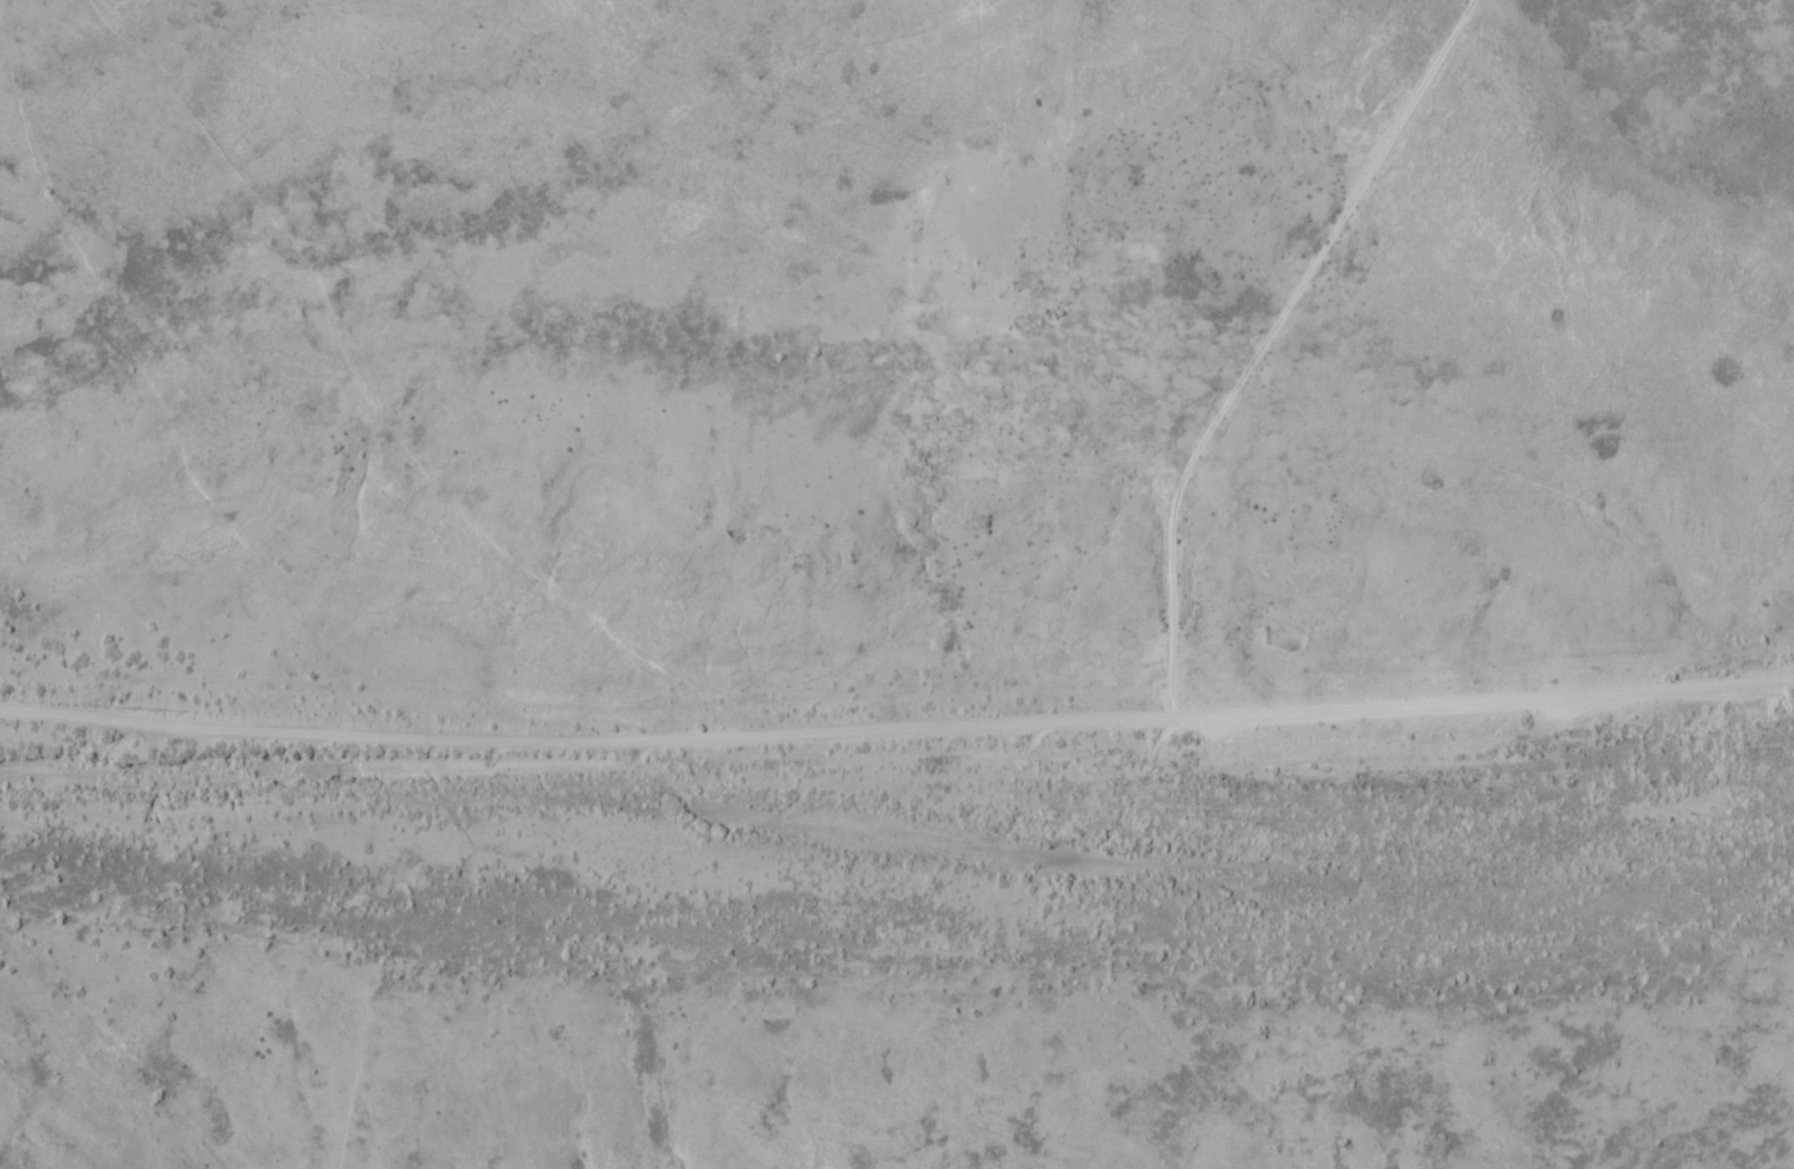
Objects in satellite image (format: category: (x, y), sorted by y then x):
road: (1267, 337)
road: (582, 742)

